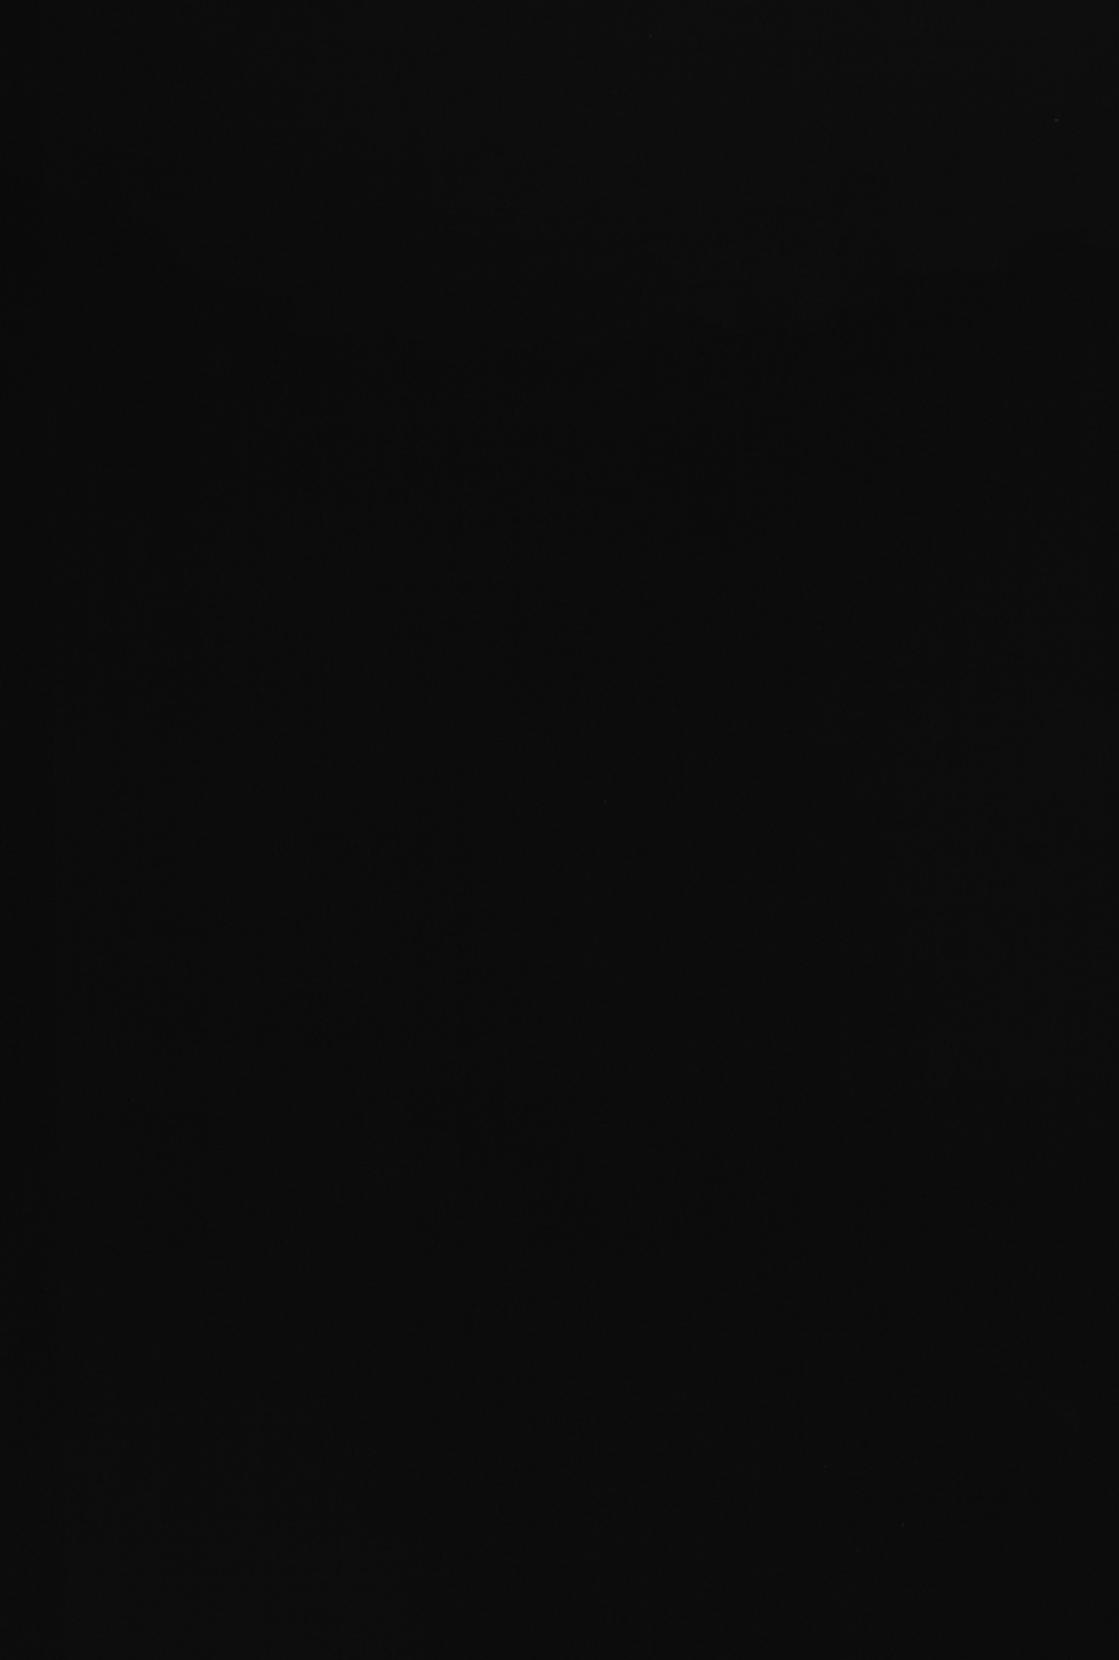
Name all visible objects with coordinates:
river: (1094, 15)

